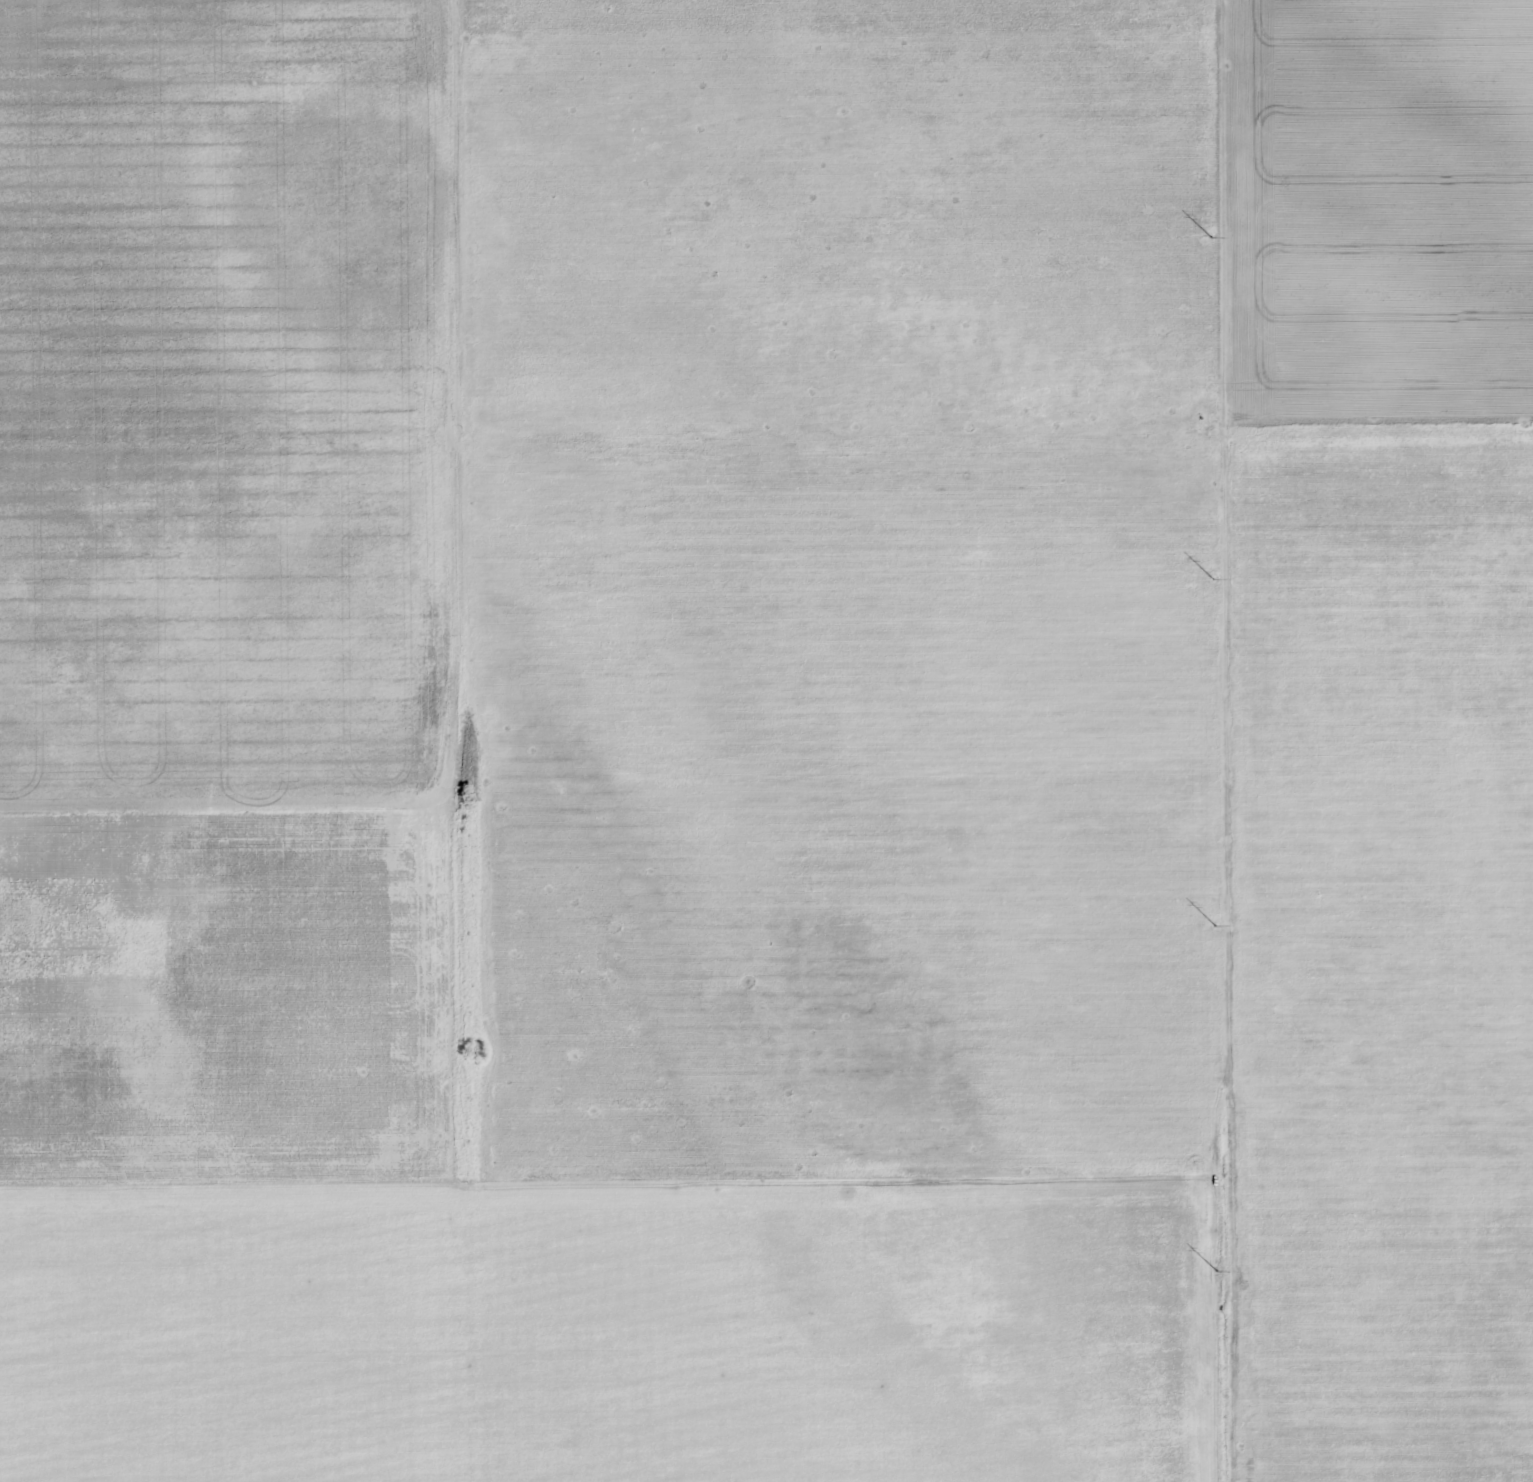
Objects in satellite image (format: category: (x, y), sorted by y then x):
power tower: (1211, 231)
power tower: (1214, 572)
road: (1236, 741)
power tower: (1216, 918)
power tower: (1218, 1264)

